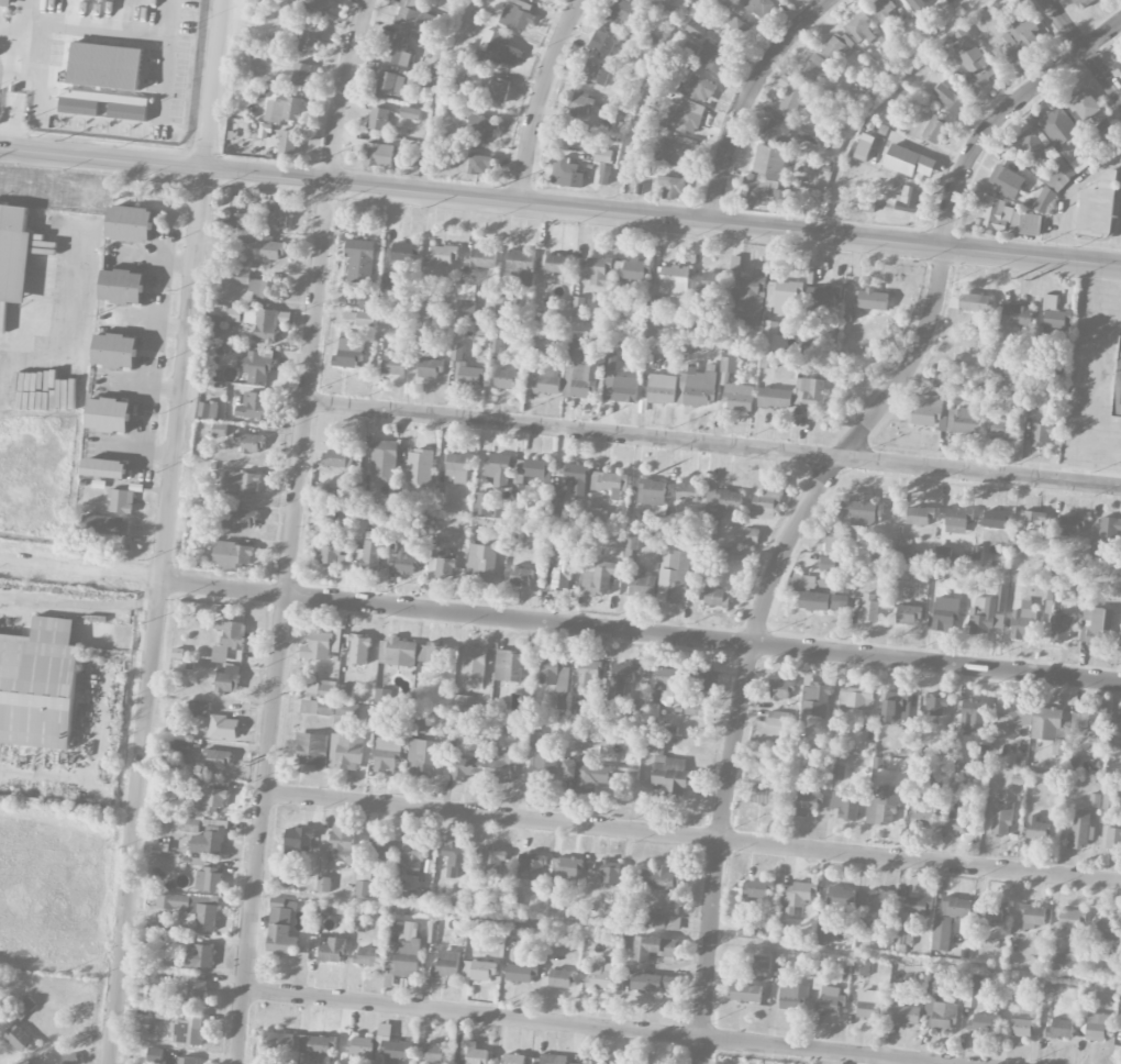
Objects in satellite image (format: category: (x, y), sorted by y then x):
building: (541, 0)
building: (5, 2)
building: (717, 2)
building: (918, 3)
building: (1083, 3)
building: (757, 7)
building: (315, 8)
building: (884, 8)
building: (622, 10)
road: (23, 11)
building: (517, 15)
building: (414, 18)
building: (695, 29)
building: (737, 30)
building: (1029, 32)
road: (170, 36)
building: (310, 38)
building: (603, 41)
building: (499, 47)
building: (836, 47)
road: (1085, 47)
building: (397, 49)
building: (1008, 53)
building: (715, 56)
building: (973, 58)
building: (1119, 62)
building: (106, 66)
building: (814, 70)
building: (301, 74)
building: (595, 74)
building: (417, 80)
building: (390, 84)
building: (699, 89)
building: (493, 90)
building: (948, 97)
road: (537, 98)
road: (743, 99)
building: (791, 99)
building: (581, 103)
building: (1084, 104)
building: (127, 107)
building: (284, 110)
building: (409, 113)
building: (684, 117)
building: (378, 119)
building: (480, 128)
building: (934, 130)
building: (778, 132)
building: (809, 134)
building: (1067, 137)
building: (287, 142)
building: (585, 143)
building: (1031, 144)
building: (864, 147)
building: (677, 152)
building: (378, 155)
building: (769, 162)
building: (908, 162)
building: (479, 164)
building: (1055, 173)
building: (566, 174)
building: (604, 174)
building: (1007, 181)
building: (672, 186)
road: (52, 188)
building: (766, 192)
road: (1070, 196)
building: (907, 199)
building: (1044, 200)
building: (1096, 207)
road: (559, 208)
building: (994, 211)
building: (274, 212)
building: (1025, 222)
building: (130, 223)
building: (241, 228)
building: (270, 250)
building: (403, 252)
building: (13, 253)
building: (359, 259)
building: (439, 259)
building: (479, 259)
building: (556, 265)
building: (521, 266)
building: (631, 268)
building: (596, 271)
building: (242, 277)
building: (674, 280)
building: (711, 282)
building: (122, 286)
building: (259, 290)
road: (1096, 291)
building: (785, 297)
building: (823, 298)
building: (873, 299)
building: (750, 300)
building: (366, 301)
building: (466, 301)
building: (969, 302)
building: (577, 306)
building: (233, 314)
building: (1015, 317)
building: (1055, 317)
building: (267, 323)
building: (211, 325)
road: (67, 326)
building: (774, 336)
building: (115, 351)
building: (348, 351)
building: (575, 352)
building: (611, 361)
building: (767, 361)
building: (258, 365)
building: (393, 365)
building: (729, 365)
building: (811, 365)
building: (1047, 367)
building: (430, 368)
building: (465, 368)
building: (506, 379)
building: (585, 379)
building: (940, 380)
building: (544, 381)
building: (1118, 386)
building: (697, 387)
building: (662, 388)
building: (620, 389)
building: (813, 396)
building: (739, 397)
building: (775, 398)
building: (253, 406)
building: (208, 410)
building: (965, 412)
building: (109, 414)
building: (1000, 424)
building: (219, 429)
building: (1041, 434)
road: (712, 442)
building: (251, 443)
building: (336, 458)
building: (384, 458)
building: (420, 466)
building: (459, 467)
building: (104, 468)
building: (537, 468)
building: (499, 469)
building: (577, 477)
building: (609, 481)
building: (241, 483)
building: (652, 491)
building: (688, 491)
road: (811, 492)
building: (557, 498)
building: (768, 500)
building: (121, 501)
building: (721, 503)
building: (210, 507)
building: (326, 510)
building: (863, 511)
building: (919, 516)
building: (597, 518)
building: (238, 519)
building: (997, 519)
building: (955, 520)
building: (1033, 520)
building: (635, 522)
building: (1072, 524)
building: (106, 525)
building: (673, 525)
building: (1109, 528)
road: (290, 530)
road: (164, 531)
building: (751, 536)
building: (834, 541)
building: (631, 542)
building: (903, 544)
building: (331, 554)
building: (233, 555)
building: (369, 555)
building: (729, 555)
building: (404, 559)
building: (480, 562)
building: (828, 564)
building: (442, 567)
road: (79, 568)
building: (674, 573)
building: (520, 576)
building: (558, 577)
building: (599, 578)
building: (801, 581)
building: (703, 583)
building: (639, 584)
building: (714, 597)
building: (821, 601)
building: (869, 607)
building: (987, 612)
building: (944, 613)
building: (909, 614)
building: (1022, 623)
building: (1097, 627)
building: (1057, 628)
road: (640, 632)
building: (1120, 633)
building: (229, 639)
building: (318, 646)
building: (397, 652)
building: (432, 653)
building: (357, 654)
building: (508, 666)
building: (474, 667)
building: (555, 676)
building: (589, 676)
building: (622, 677)
building: (706, 678)
building: (229, 679)
building: (38, 684)
building: (669, 685)
building: (326, 688)
building: (780, 690)
building: (345, 691)
building: (856, 697)
building: (815, 698)
building: (896, 706)
building: (935, 706)
building: (317, 707)
building: (199, 708)
building: (499, 708)
building: (636, 708)
building: (693, 709)
building: (1010, 713)
building: (968, 714)
building: (778, 718)
building: (419, 721)
building: (1089, 724)
building: (223, 727)
building: (1050, 729)
building: (1118, 730)
building: (533, 739)
building: (181, 745)
building: (312, 749)
building: (345, 752)
building: (980, 753)
building: (387, 755)
building: (421, 757)
building: (215, 758)
building: (542, 764)
building: (500, 765)
building: (463, 767)
building: (670, 773)
building: (588, 775)
building: (955, 785)
building: (767, 795)
building: (212, 798)
building: (1094, 800)
building: (808, 802)
building: (845, 806)
building: (881, 807)
building: (1107, 809)
building: (922, 818)
building: (1001, 818)
building: (179, 821)
building: (961, 822)
building: (1036, 828)
building: (1079, 830)
road: (691, 838)
building: (1113, 838)
building: (209, 839)
building: (298, 840)
building: (338, 844)
building: (378, 849)
building: (410, 857)
building: (456, 858)
building: (492, 863)
building: (531, 866)
building: (566, 867)
building: (611, 873)
building: (661, 878)
building: (208, 879)
building: (284, 879)
building: (363, 882)
building: (323, 884)
building: (756, 889)
building: (400, 893)
building: (800, 894)
building: (878, 898)
building: (842, 899)
building: (913, 905)
building: (956, 907)
building: (193, 908)
building: (991, 911)
building: (1032, 916)
building: (1070, 919)
building: (654, 921)
building: (359, 924)
building: (1108, 926)
building: (280, 928)
building: (747, 930)
building: (941, 933)
building: (824, 934)
building: (902, 940)
building: (653, 947)
building: (326, 949)
building: (404, 950)
building: (199, 956)
building: (367, 956)
building: (1064, 962)
building: (446, 964)
building: (761, 968)
building: (780, 968)
building: (861, 968)
building: (478, 969)
building: (521, 973)
building: (601, 975)
building: (560, 978)
building: (655, 983)
building: (196, 991)
building: (746, 993)
building: (975, 993)
building: (156, 996)
building: (792, 996)
building: (830, 999)
building: (868, 1004)
building: (1120, 1004)
building: (23, 1009)
building: (937, 1009)
building: (162, 1015)
building: (906, 1015)
building: (980, 1022)
road: (589, 1026)
building: (1098, 1027)
building: (1021, 1028)
building: (1059, 1029)
building: (188, 1030)
building: (20, 1039)
building: (280, 1041)
building: (317, 1046)
building: (359, 1048)
building: (436, 1053)
building: (474, 1053)
building: (155, 1055)
building: (513, 1059)
building: (553, 1059)
building: (186, 1061)
building: (342, 1062)
building: (579, 1063)

